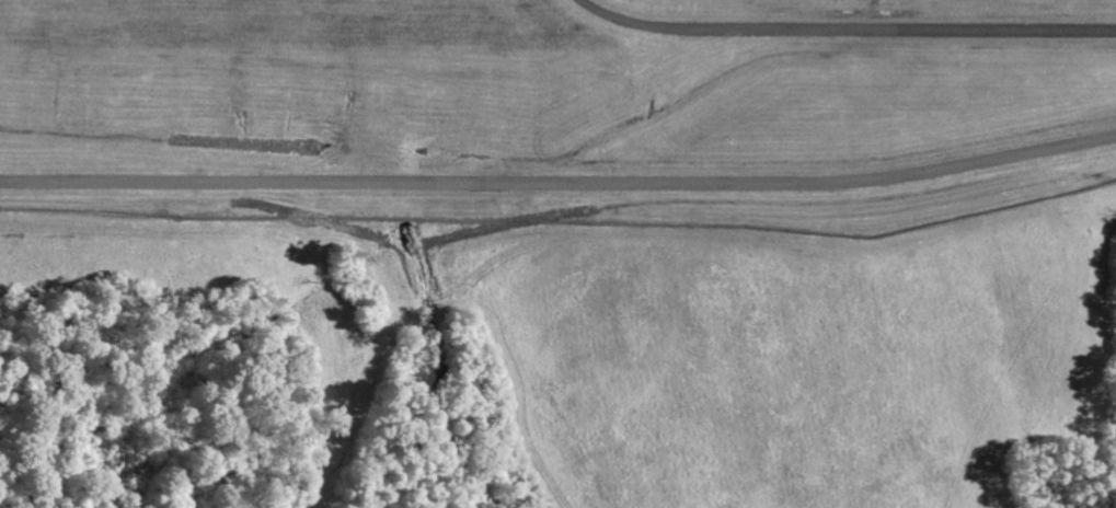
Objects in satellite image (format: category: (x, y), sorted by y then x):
road: (844, 32)
airport: (555, 111)
road: (560, 182)

